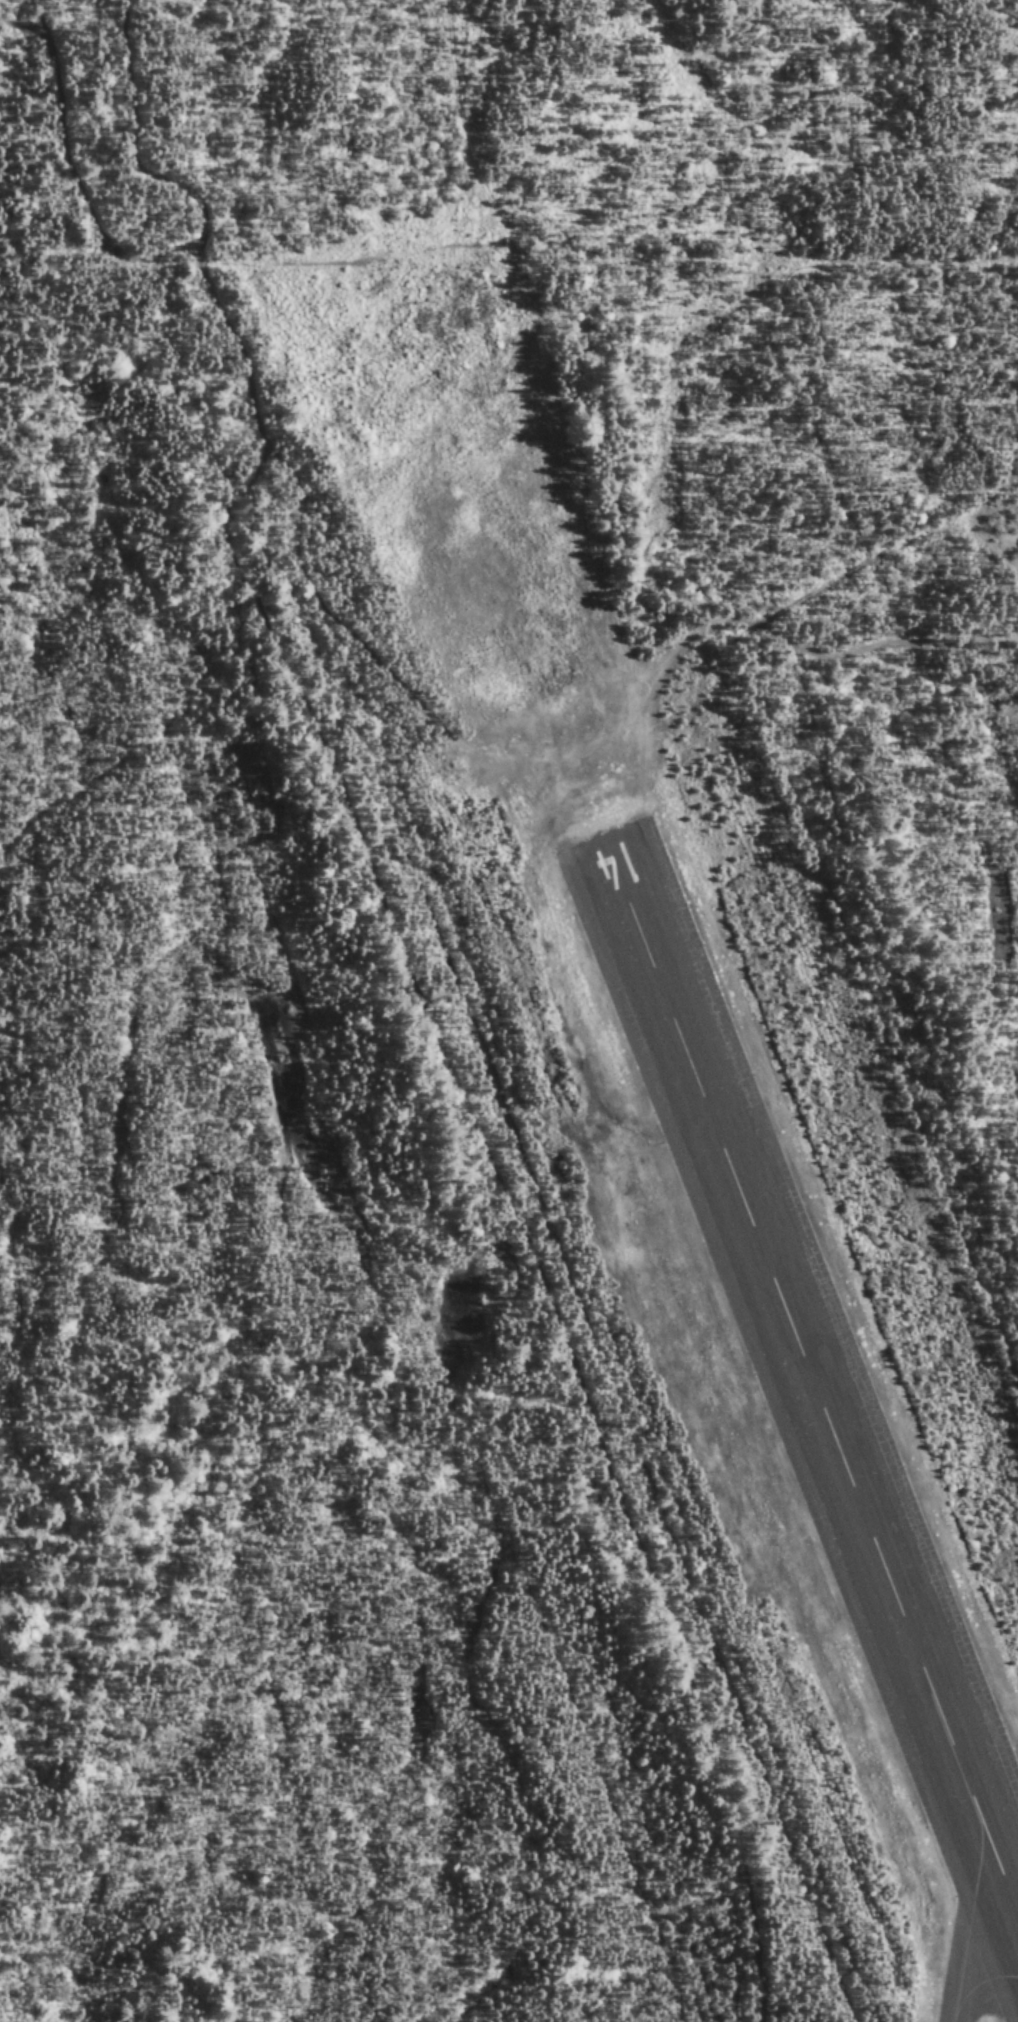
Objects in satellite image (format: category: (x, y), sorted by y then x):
road: (132, 143)
road: (344, 637)
road: (516, 1220)
airport: (694, 1279)
airport runway: (812, 1384)
airport taxiway: (965, 1920)

